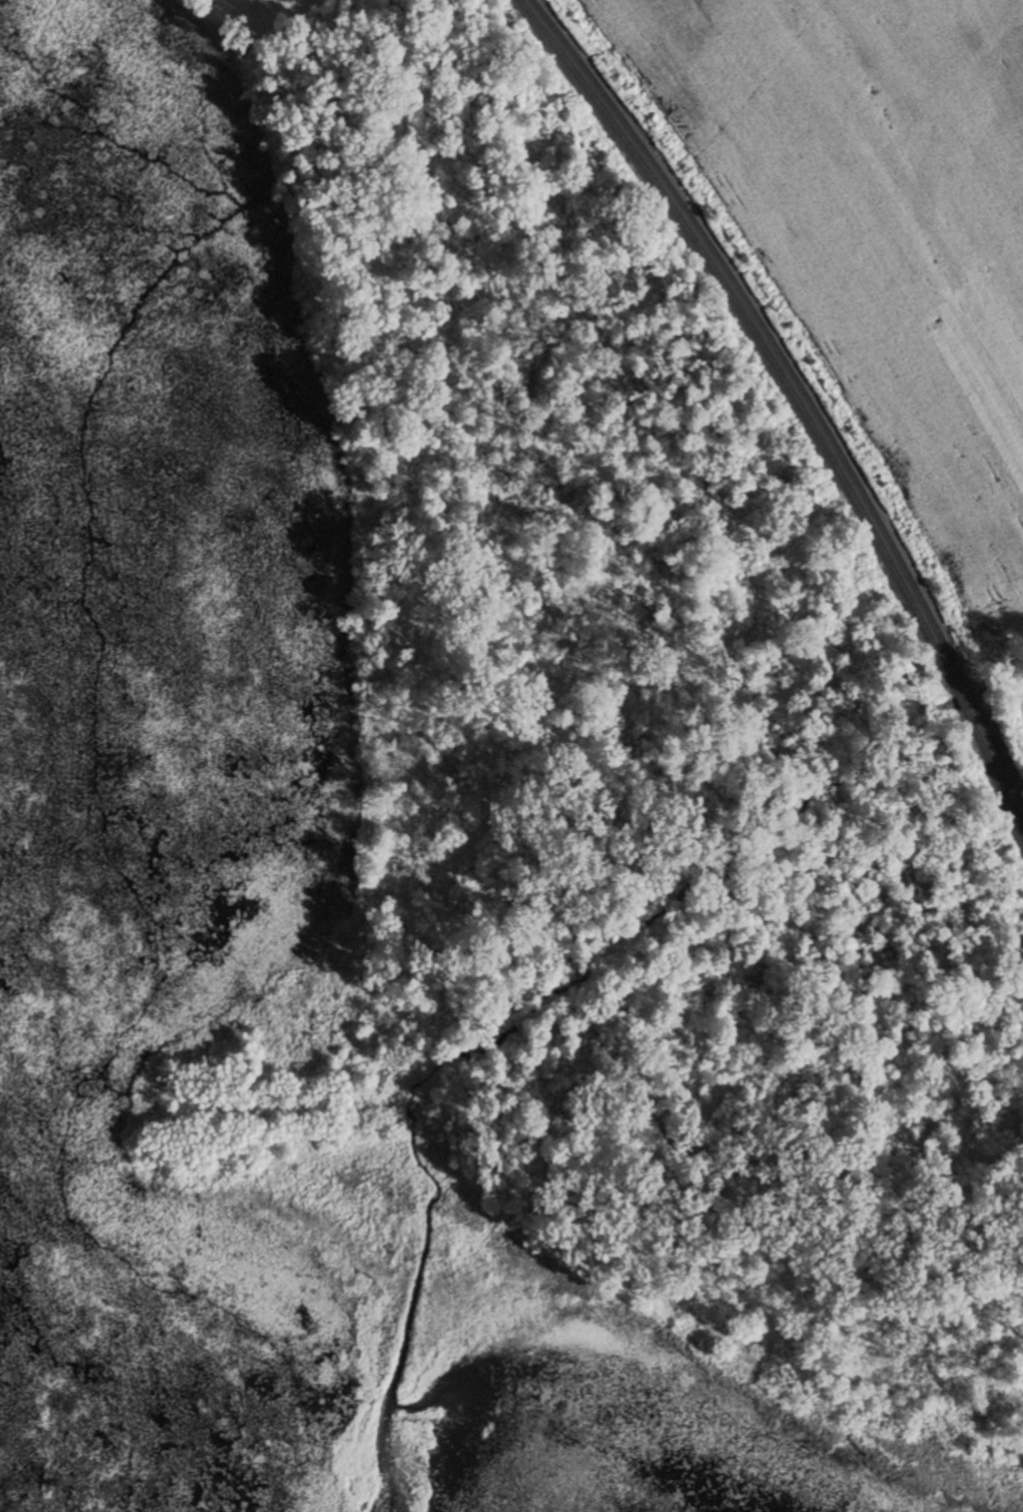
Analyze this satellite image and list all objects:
crop: (876, 235)
railway: (764, 333)
railway: (754, 335)
railway: (967, 696)
railway: (959, 701)
railway: (997, 757)
railway: (993, 769)

